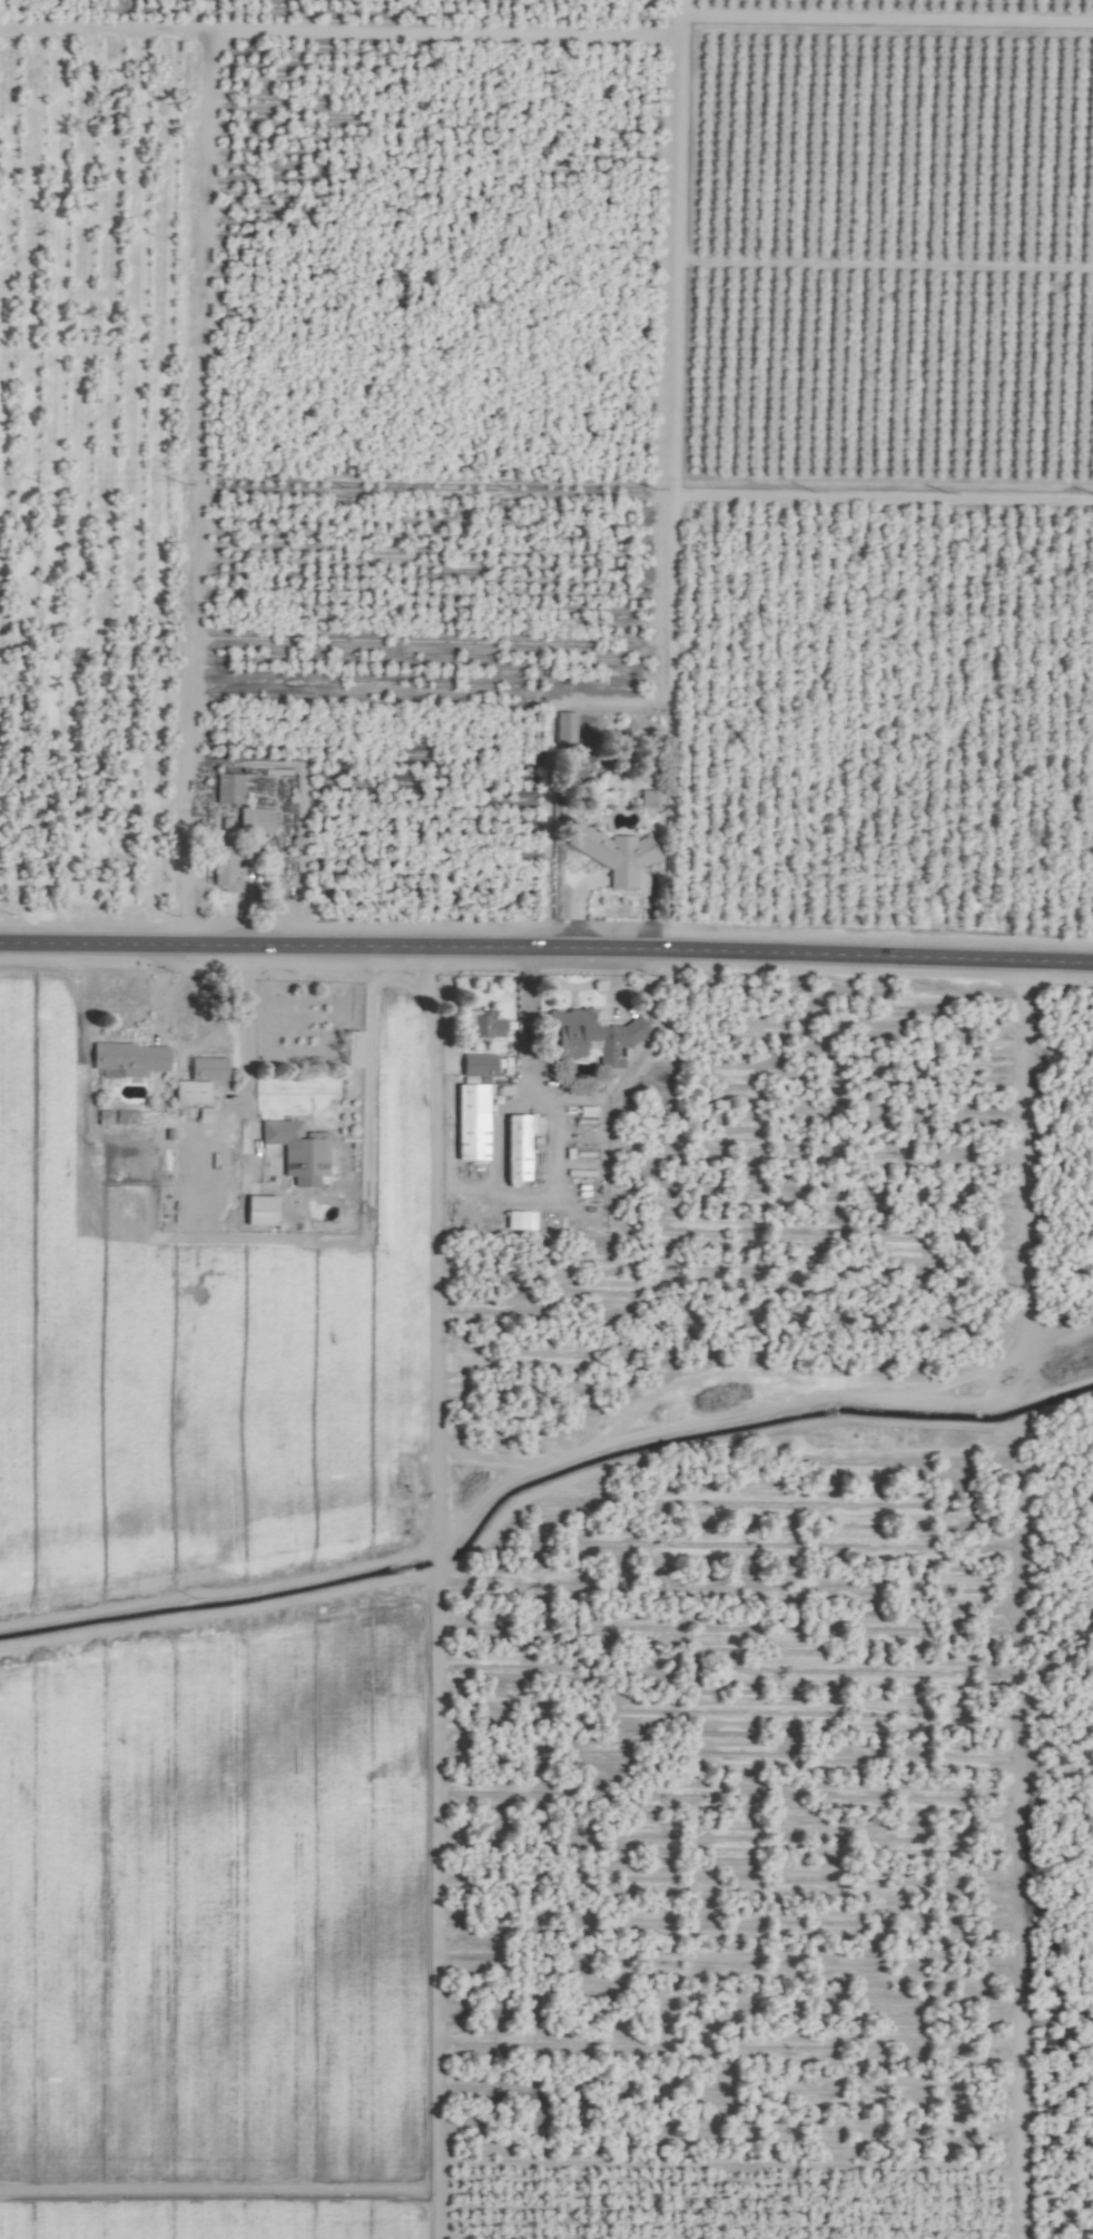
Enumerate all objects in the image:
building: (562, 724)
building: (229, 788)
building: (647, 798)
building: (254, 820)
building: (612, 855)
building: (223, 870)
road: (546, 948)
building: (480, 1025)
building: (587, 1036)
building: (587, 1048)
building: (348, 1049)
building: (127, 1058)
building: (476, 1065)
building: (205, 1069)
building: (188, 1093)
building: (203, 1116)
crop: (546, 1119)
building: (467, 1123)
building: (515, 1146)
building: (296, 1150)
road: (467, 1187)
building: (256, 1212)
building: (516, 1221)

